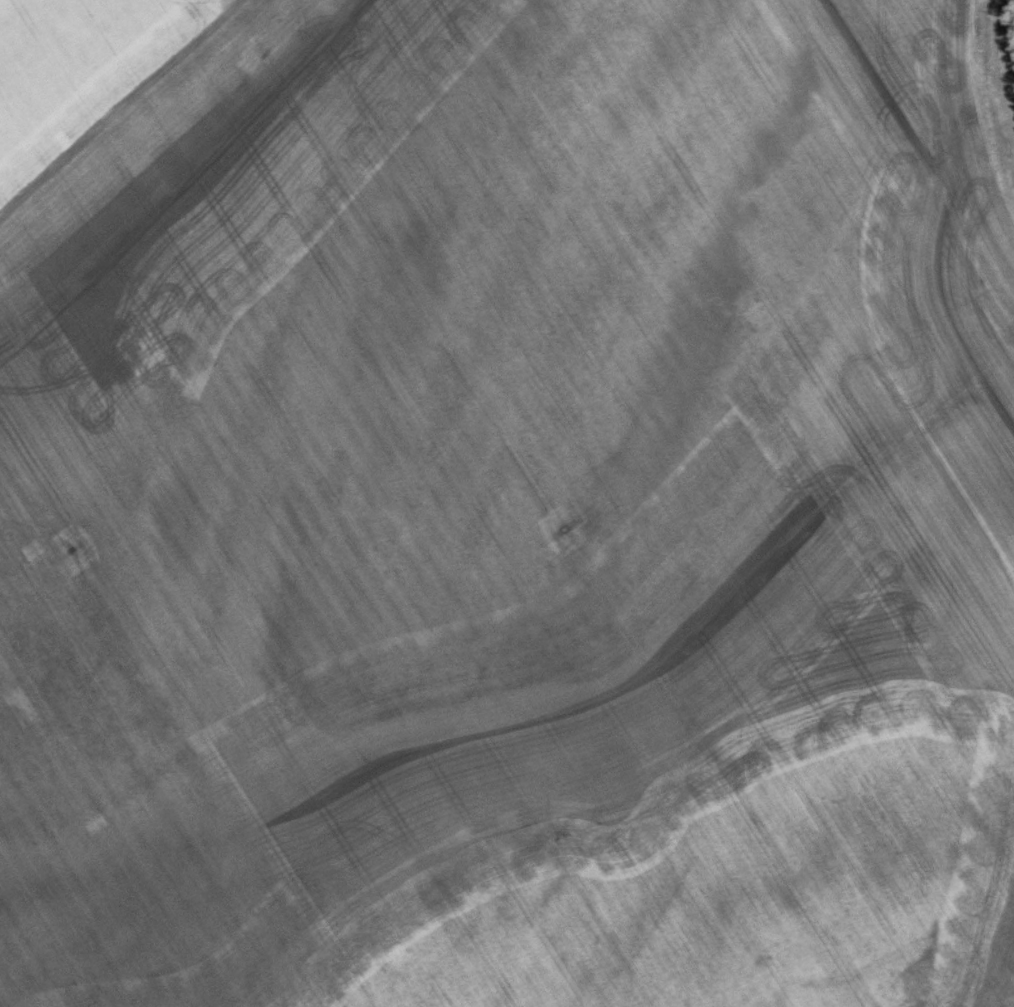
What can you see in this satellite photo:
road: (1011, 39)
road: (119, 107)
crop: (503, 506)

